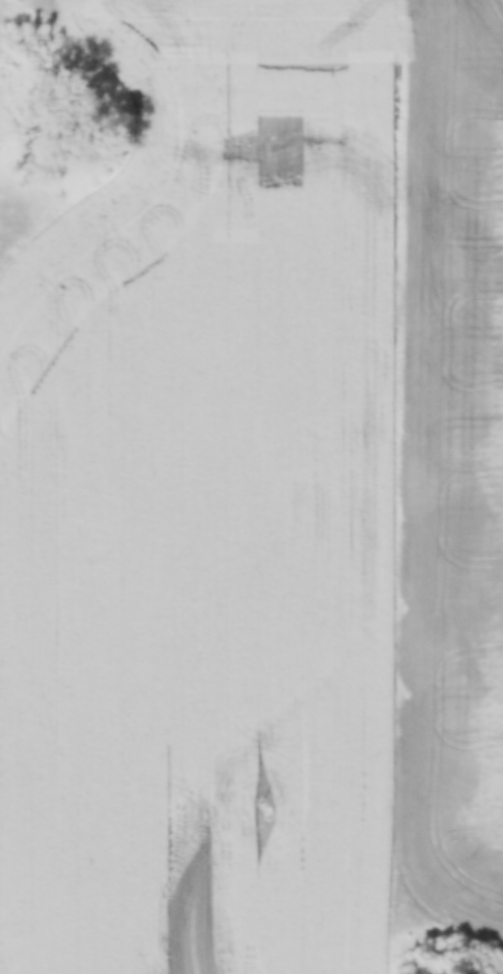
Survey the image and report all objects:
power tower: (265, 809)

